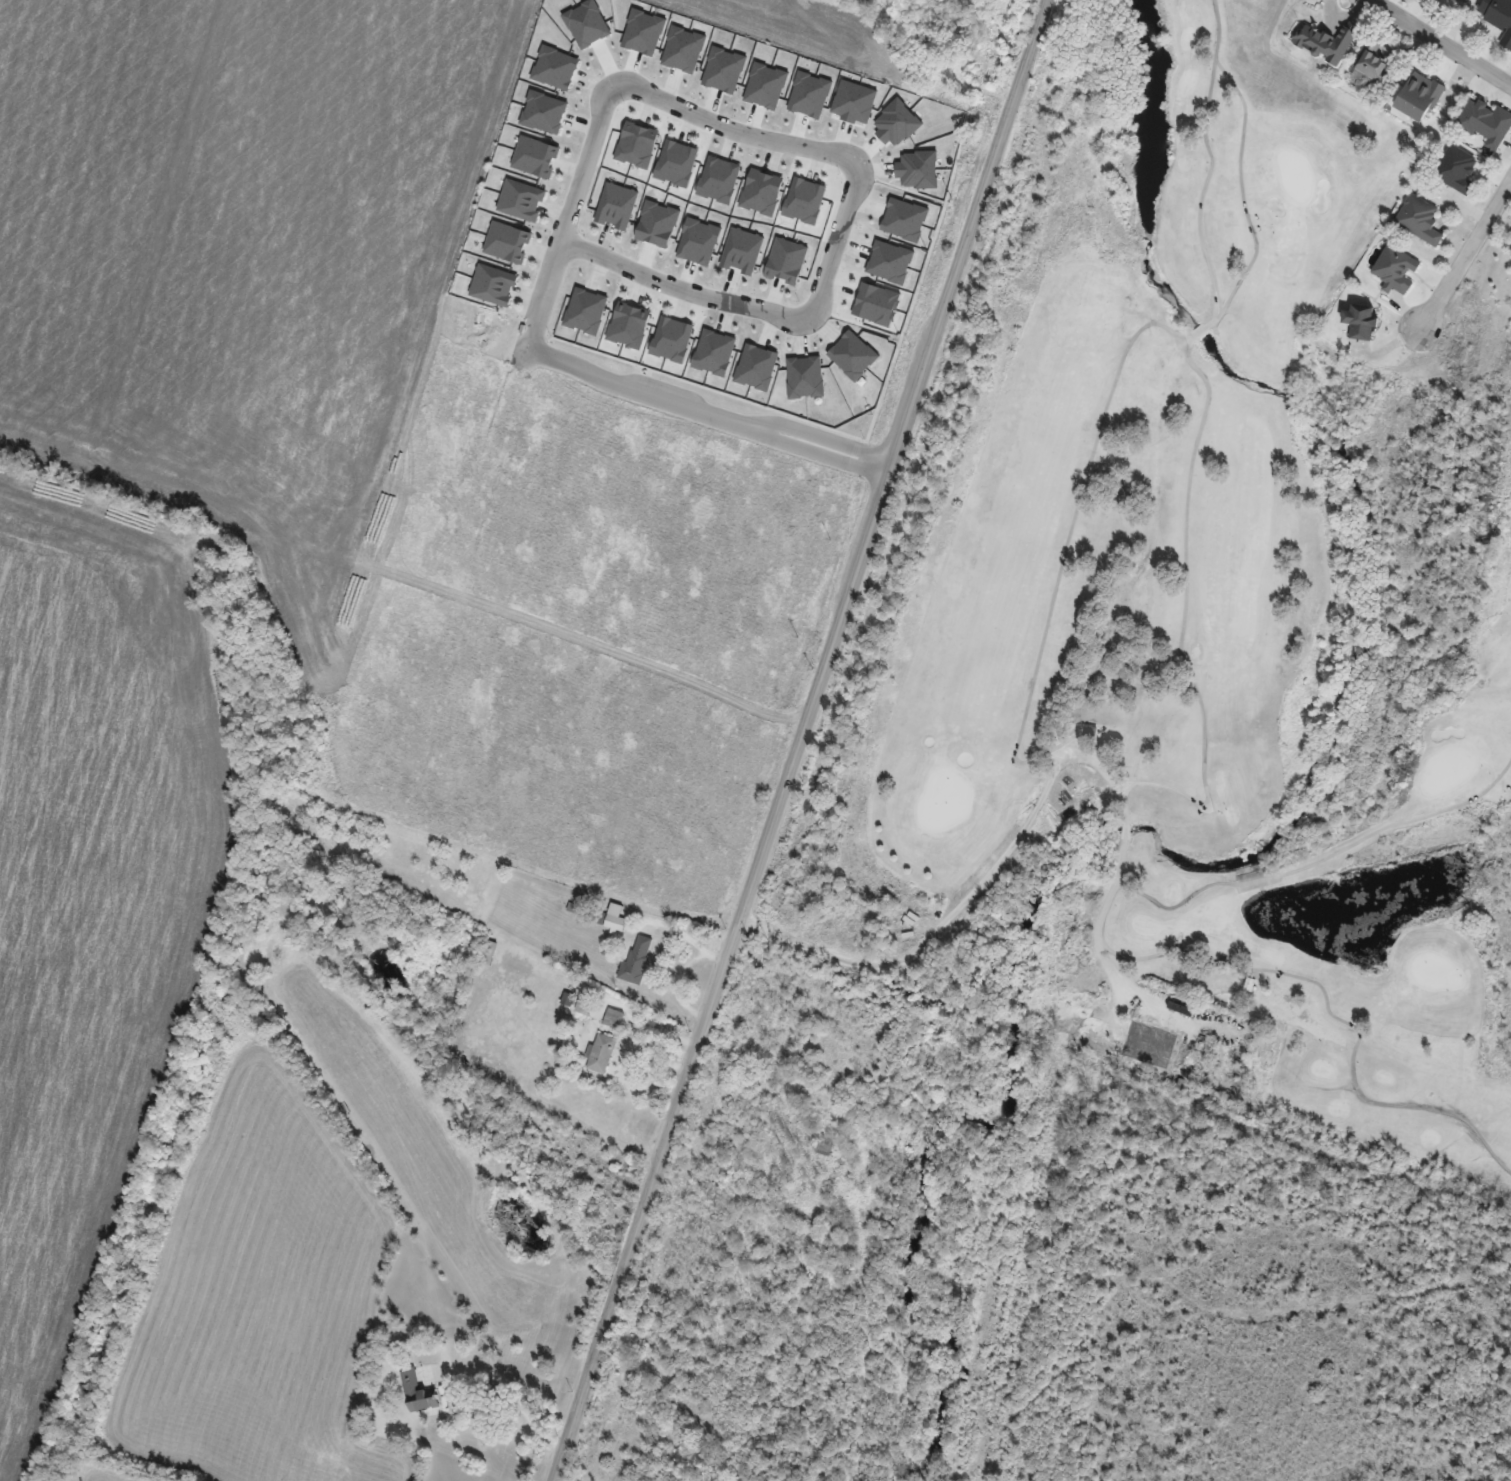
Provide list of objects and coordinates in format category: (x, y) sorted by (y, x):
building: (1468, 0)
building: (1433, 1)
building: (1452, 5)
building: (1498, 23)
road: (1440, 42)
building: (1328, 51)
building: (1376, 72)
building: (1417, 98)
building: (1481, 120)
road: (733, 132)
road: (1239, 167)
building: (1456, 171)
road: (1202, 188)
road: (565, 215)
building: (1421, 224)
road: (838, 243)
road: (1461, 260)
building: (1396, 270)
road: (679, 289)
building: (1370, 328)
road: (706, 411)
park: (1231, 547)
road: (1064, 556)
road: (1181, 620)
road: (801, 741)
road: (1088, 759)
road: (1317, 861)
building: (615, 920)
road: (686, 938)
building: (490, 953)
building: (637, 960)
road: (1335, 1015)
building: (614, 1019)
road: (636, 1038)
building: (1149, 1046)
building: (602, 1054)
road: (516, 1391)
building: (418, 1393)

